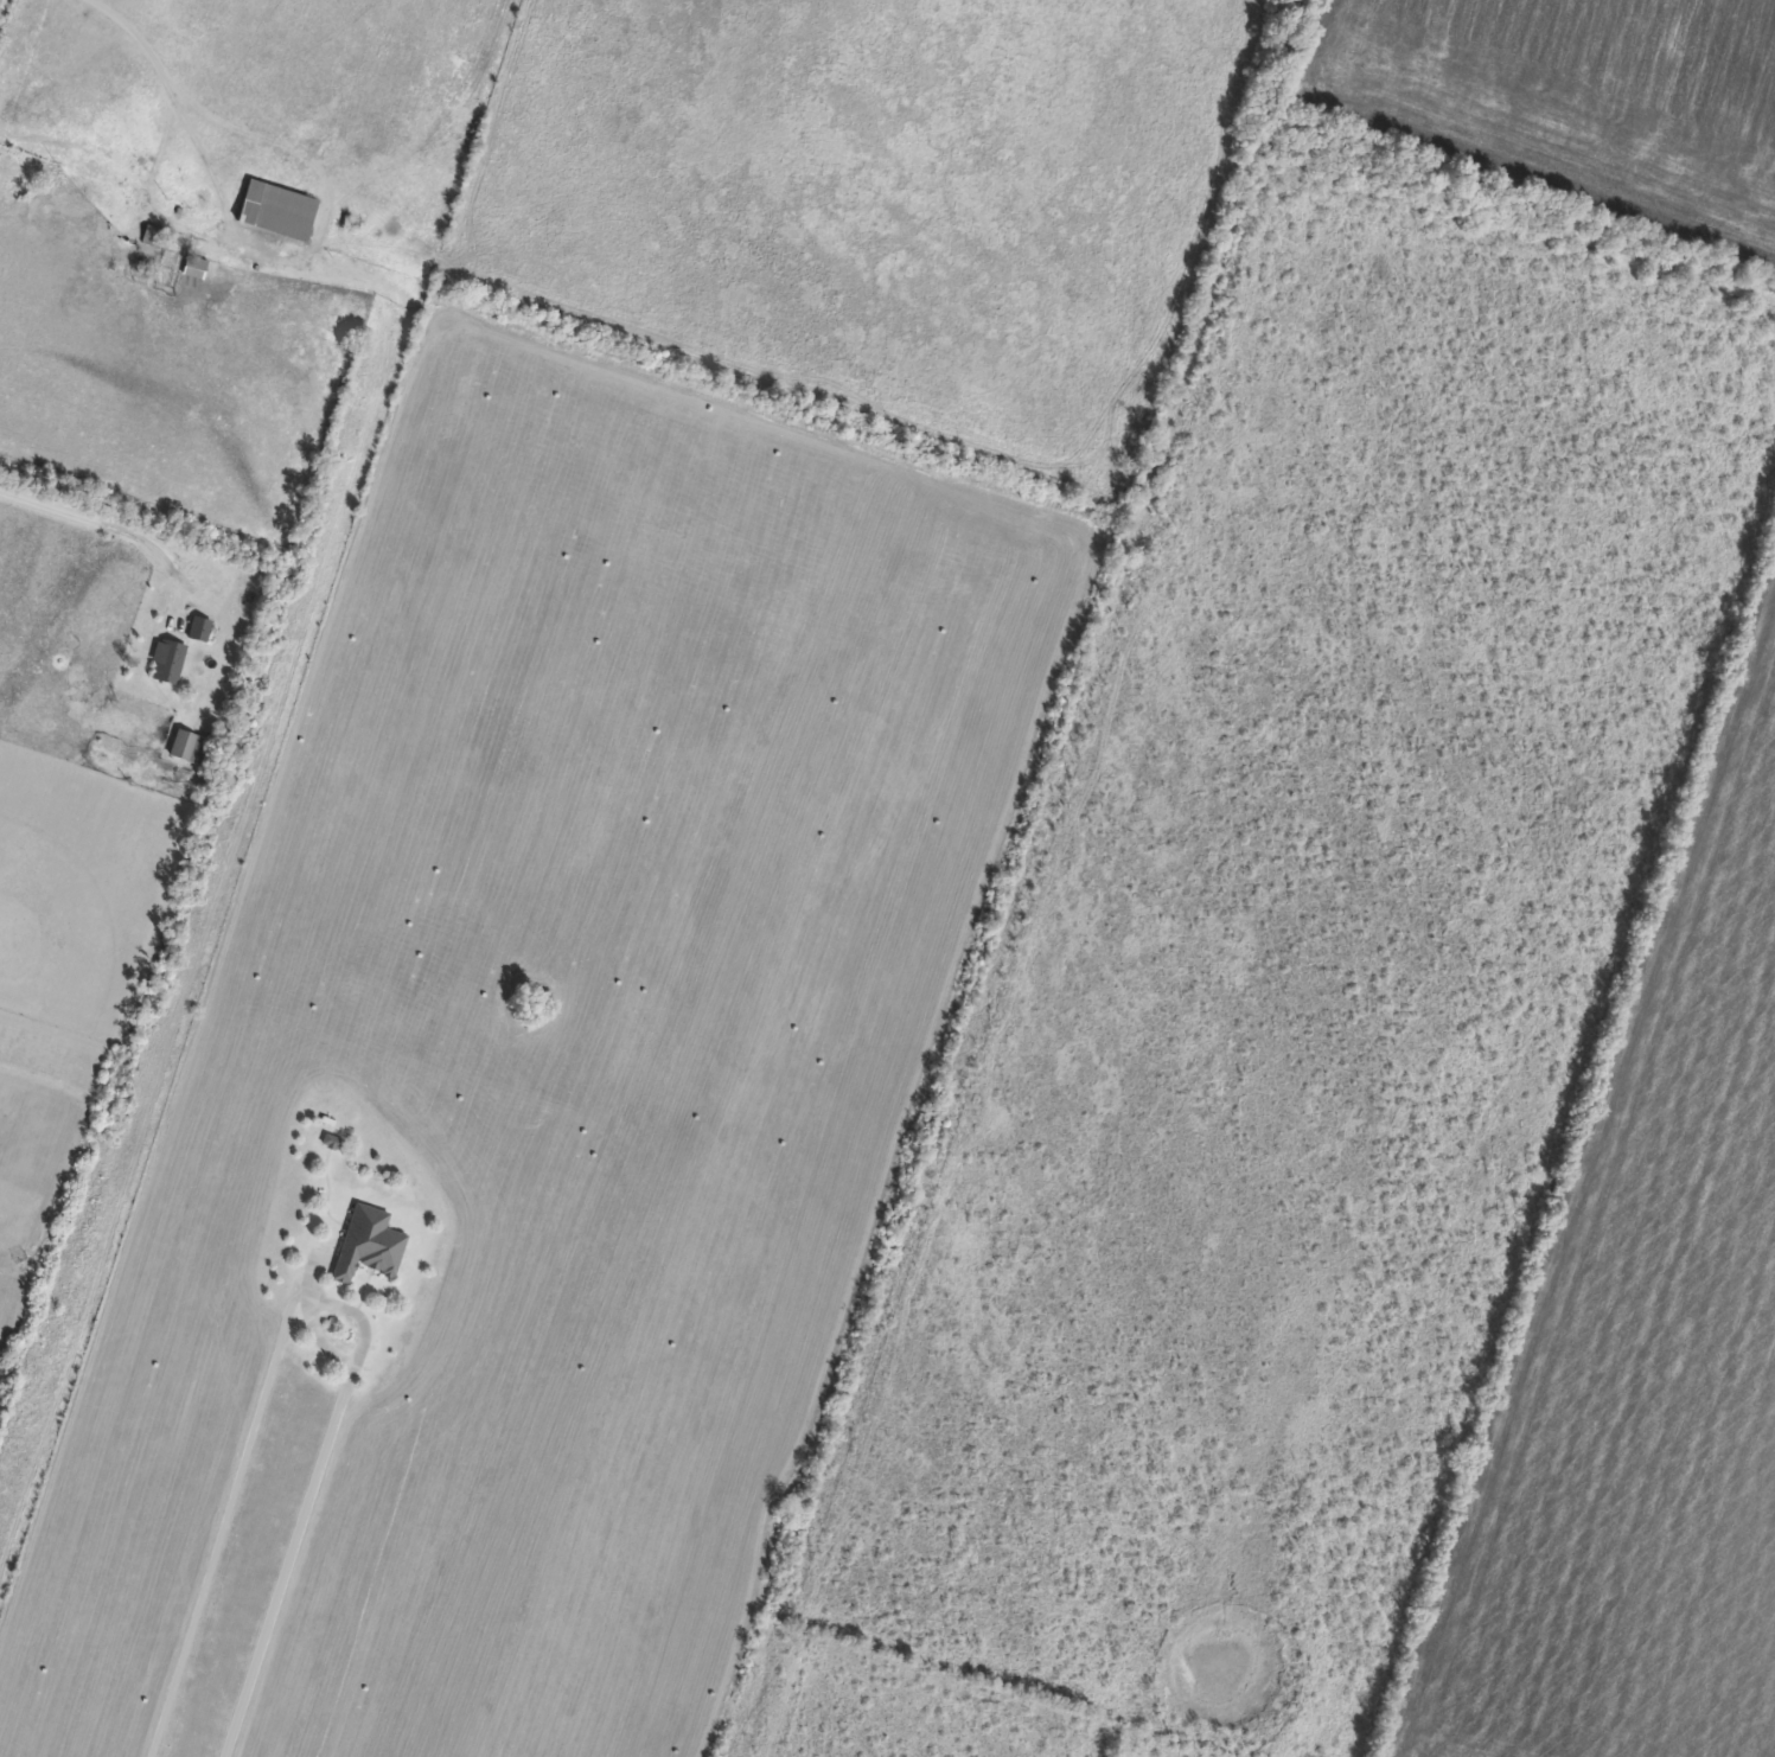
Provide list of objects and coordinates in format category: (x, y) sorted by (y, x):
road: (1, 4)
road: (138, 37)
building: (276, 211)
building: (153, 237)
road: (317, 247)
building: (196, 268)
road: (117, 526)
building: (200, 630)
building: (168, 662)
building: (183, 745)
building: (369, 1245)
road: (318, 1301)

